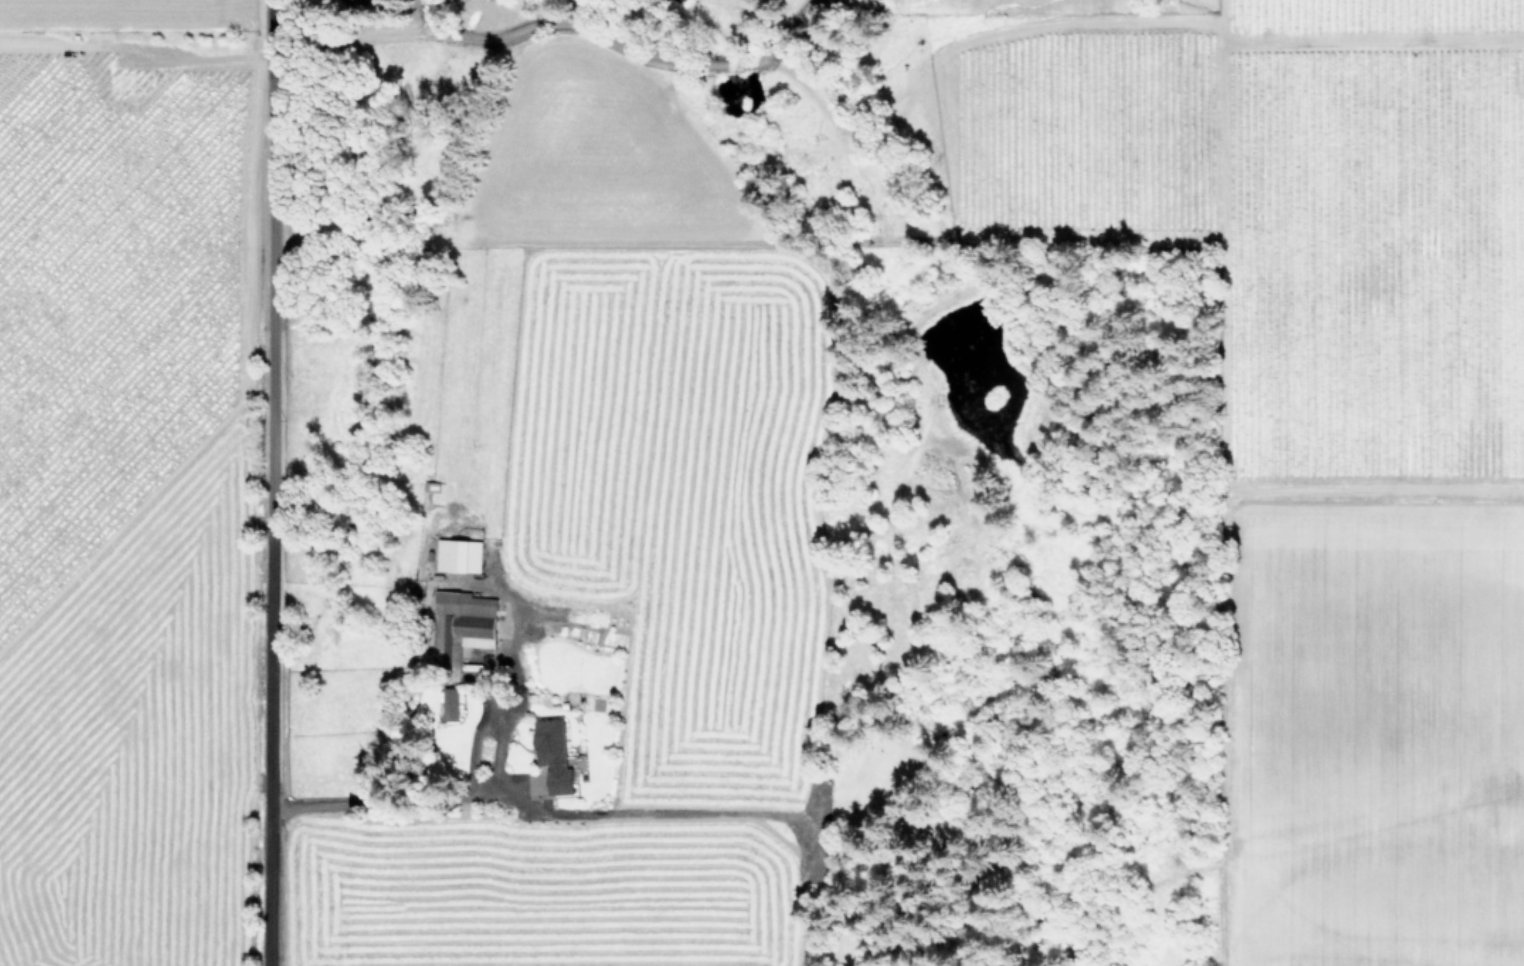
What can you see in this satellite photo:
road: (617, 45)
road: (211, 52)
crop: (1313, 408)
crop: (120, 480)
road: (270, 483)
building: (461, 555)
crop: (565, 591)
building: (467, 620)
building: (451, 702)
building: (558, 754)
road: (395, 801)

